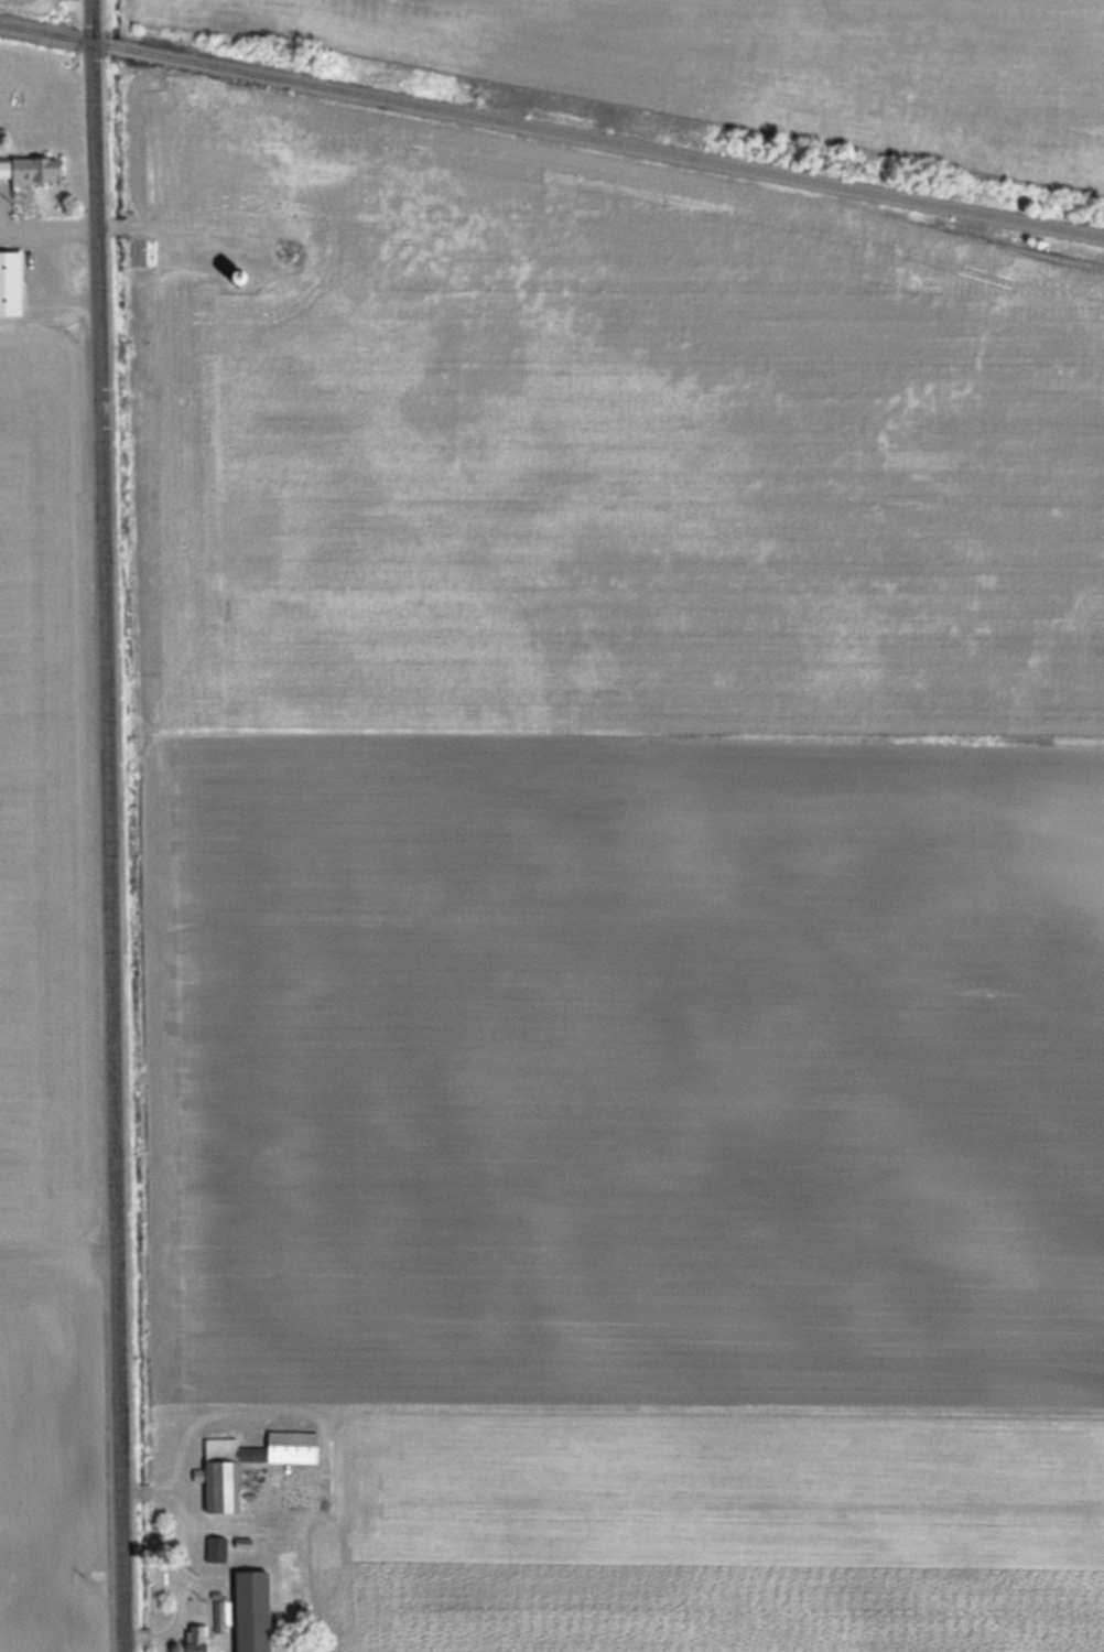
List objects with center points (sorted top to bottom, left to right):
railway: (552, 130)
building: (28, 168)
building: (8, 281)
road: (113, 825)
building: (219, 1487)
building: (214, 1548)
building: (245, 1611)
building: (193, 1638)

